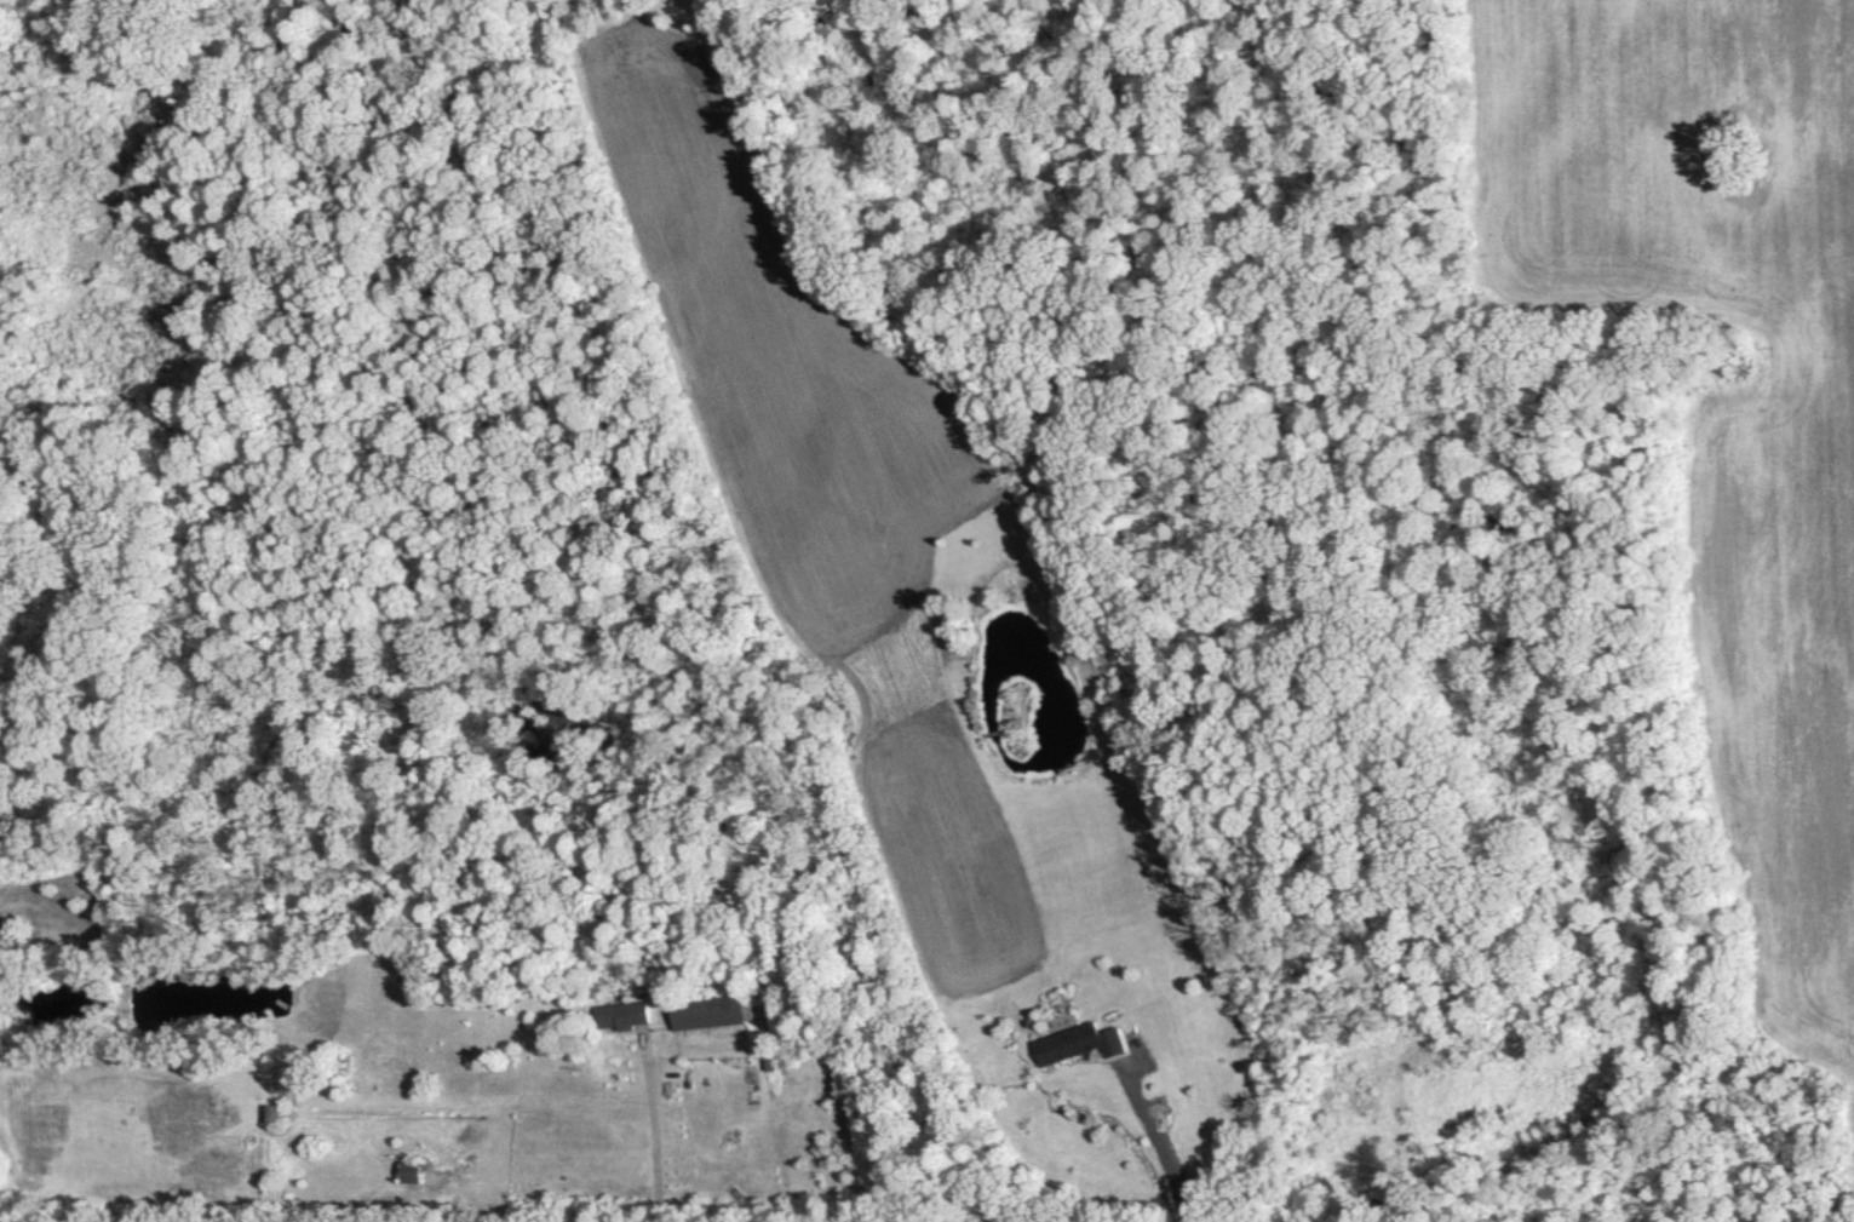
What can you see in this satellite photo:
building: (713, 1010)
building: (631, 1015)
building: (1083, 1043)
building: (276, 1114)
road: (659, 1135)
road: (1160, 1142)

